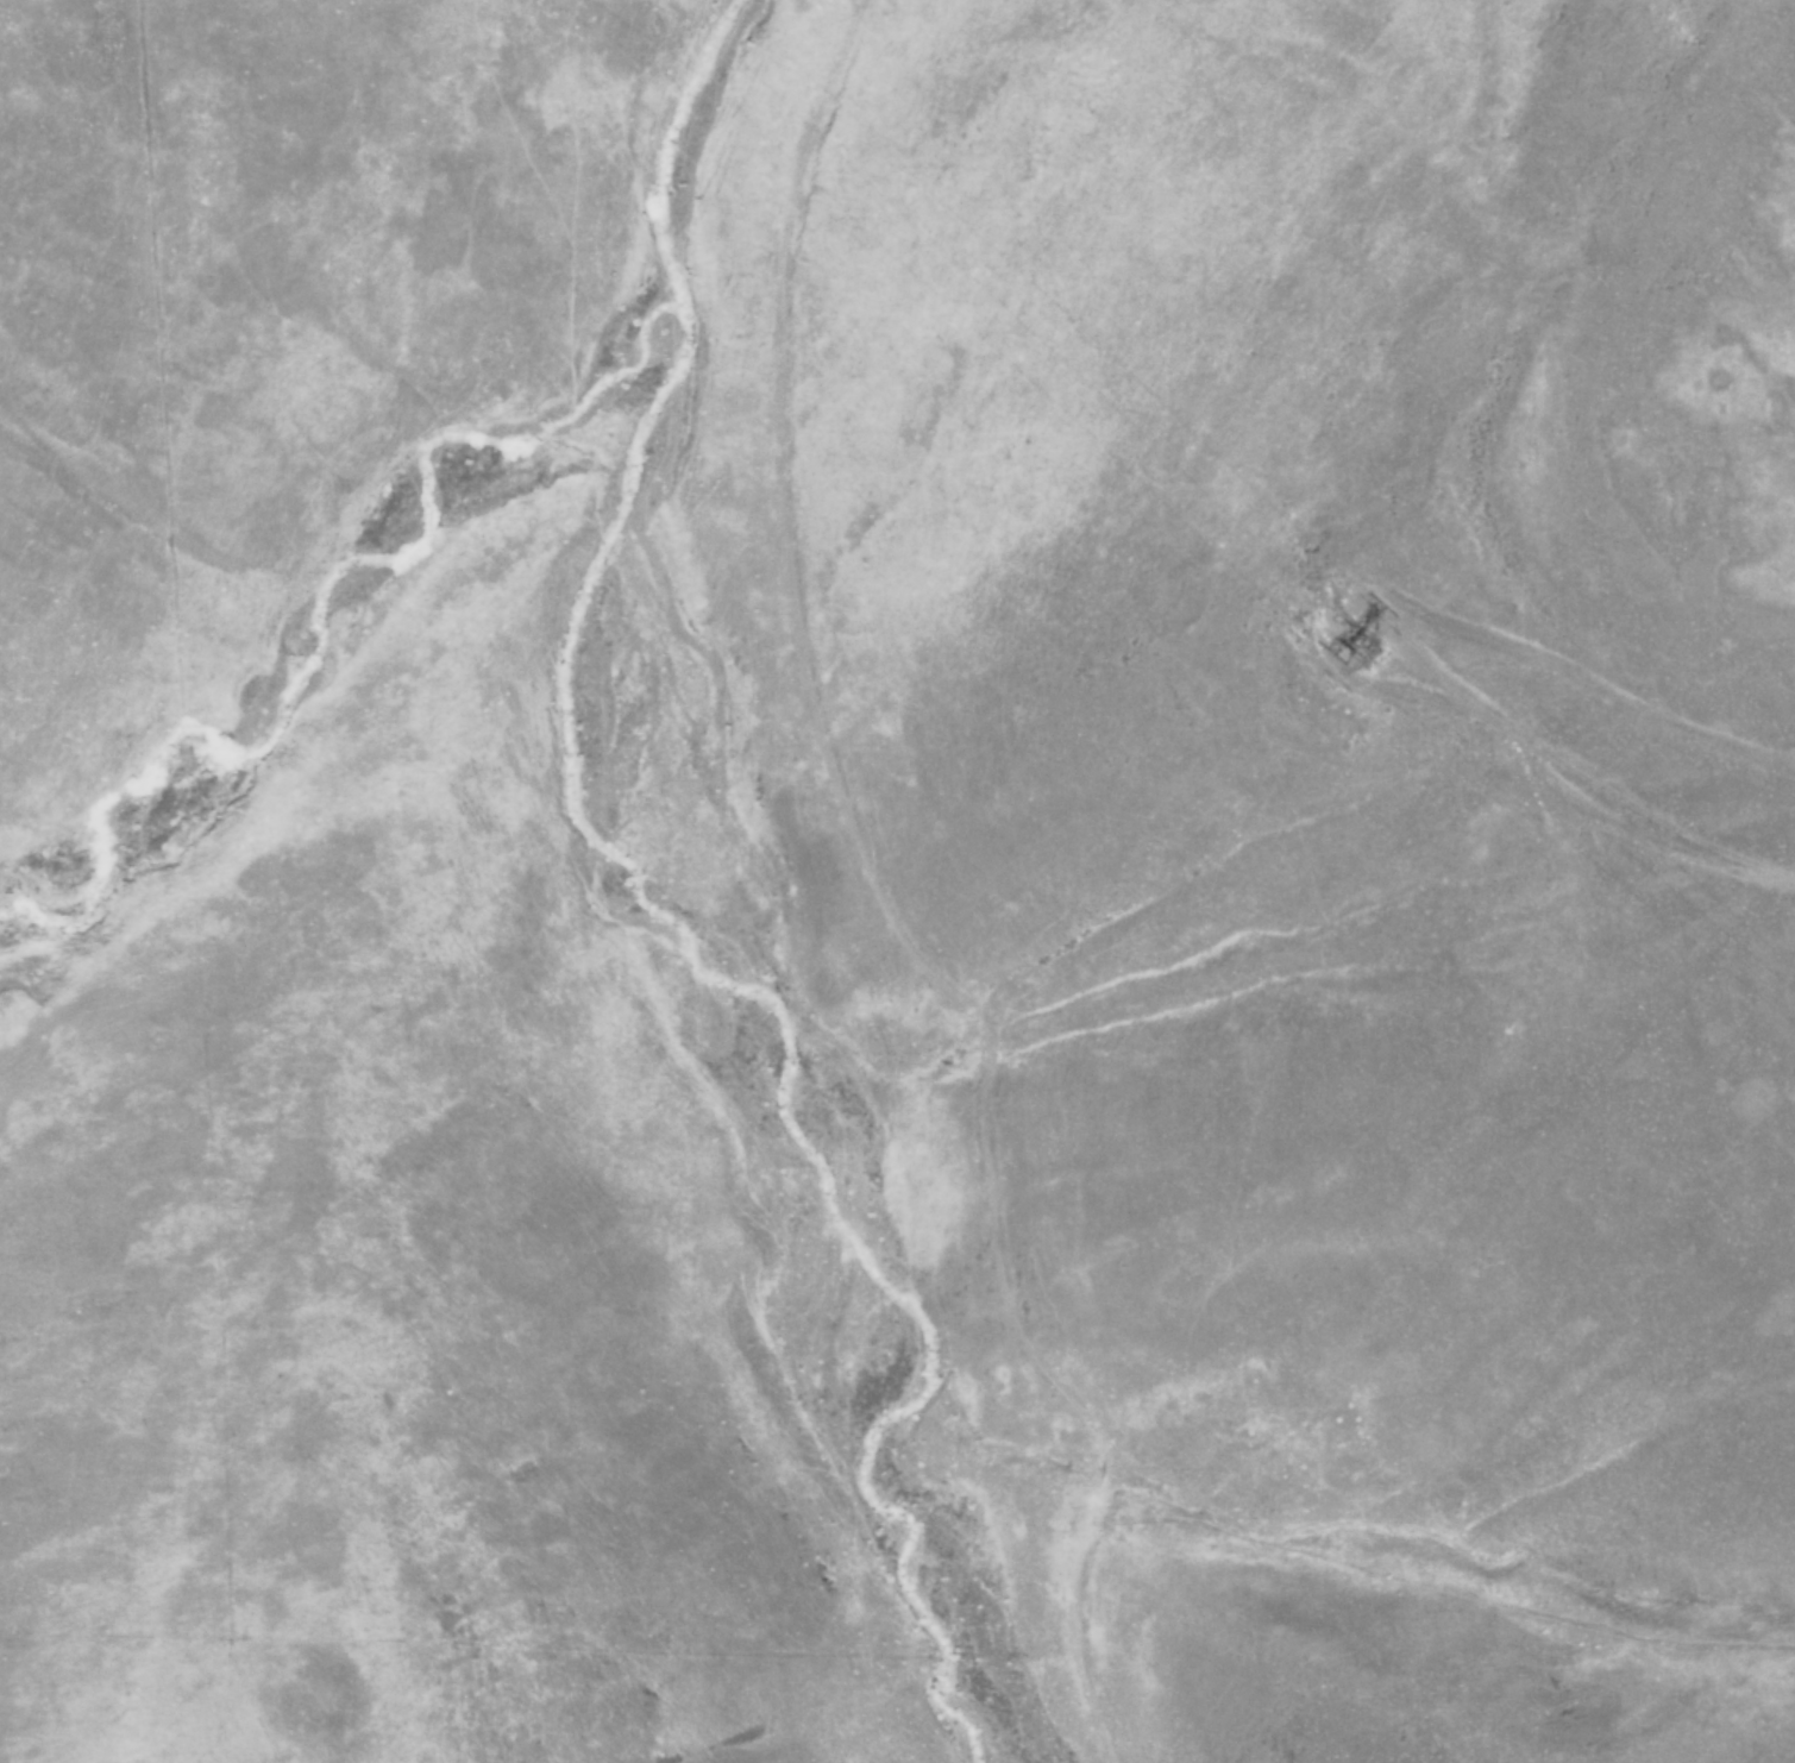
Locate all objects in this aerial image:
power tower: (1376, 655)

